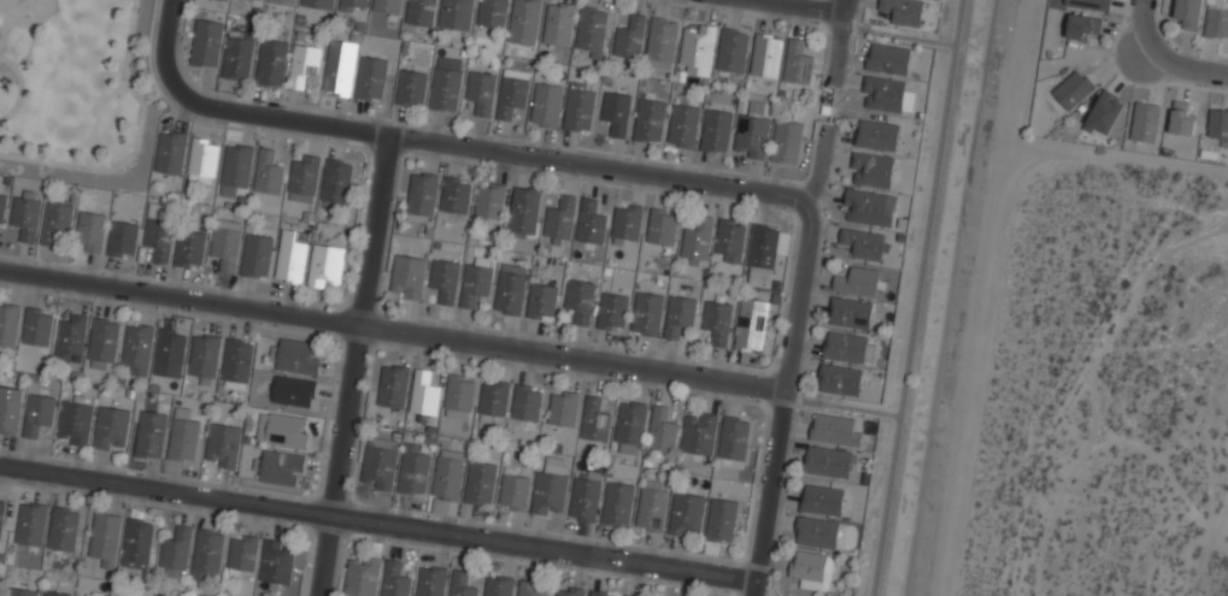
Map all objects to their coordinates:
building: (224, 0)
building: (284, 1)
road: (166, 4)
building: (317, 4)
building: (1087, 4)
road: (806, 5)
building: (353, 6)
building: (386, 6)
park: (25, 11)
building: (904, 11)
building: (421, 12)
building: (493, 13)
building: (1188, 13)
building: (456, 14)
building: (524, 22)
building: (559, 23)
building: (1216, 23)
building: (1083, 28)
road: (1141, 28)
building: (592, 30)
road: (898, 36)
building: (630, 37)
building: (662, 42)
road: (838, 42)
building: (206, 43)
building: (698, 48)
building: (733, 49)
building: (766, 55)
building: (239, 57)
building: (888, 58)
building: (272, 63)
building: (798, 63)
building: (304, 65)
road: (1182, 65)
building: (339, 72)
building: (371, 77)
building: (411, 88)
building: (446, 89)
building: (481, 90)
building: (1073, 90)
building: (512, 92)
park: (77, 93)
building: (886, 95)
building: (546, 104)
road: (834, 105)
building: (580, 106)
building: (616, 111)
building: (1105, 113)
building: (1182, 119)
building: (648, 120)
building: (1145, 122)
building: (1217, 123)
building: (683, 125)
building: (716, 130)
building: (752, 132)
building: (877, 134)
building: (787, 141)
road: (446, 144)
building: (171, 153)
building: (202, 159)
building: (236, 167)
building: (871, 170)
building: (268, 172)
building: (304, 178)
building: (336, 181)
building: (456, 194)
building: (422, 196)
building: (490, 202)
building: (2, 207)
building: (868, 208)
building: (524, 211)
building: (25, 216)
building: (560, 219)
building: (57, 220)
building: (627, 220)
building: (591, 223)
building: (662, 228)
building: (92, 231)
building: (159, 236)
building: (123, 238)
building: (697, 241)
building: (729, 241)
building: (225, 243)
building: (863, 243)
building: (189, 248)
building: (762, 250)
building: (257, 255)
building: (290, 259)
building: (325, 266)
building: (409, 276)
building: (445, 278)
building: (857, 282)
building: (475, 283)
building: (511, 288)
road: (916, 297)
building: (542, 300)
building: (581, 300)
building: (612, 311)
building: (851, 312)
building: (647, 313)
building: (678, 314)
building: (717, 320)
building: (751, 323)
building: (8, 324)
building: (37, 326)
road: (392, 327)
building: (70, 335)
building: (104, 342)
building: (171, 346)
building: (845, 346)
building: (137, 348)
building: (205, 355)
building: (299, 356)
building: (237, 359)
road: (787, 359)
road: (354, 365)
building: (839, 379)
building: (394, 385)
building: (294, 391)
building: (424, 394)
building: (459, 396)
building: (494, 399)
building: (527, 401)
building: (563, 407)
road: (840, 407)
building: (10, 409)
building: (37, 413)
building: (594, 419)
building: (75, 420)
building: (630, 427)
building: (834, 427)
building: (112, 429)
building: (662, 429)
building: (287, 431)
building: (699, 433)
building: (151, 435)
building: (183, 436)
building: (734, 437)
building: (222, 445)
building: (827, 461)
building: (281, 466)
building: (378, 467)
building: (413, 468)
building: (448, 478)
building: (481, 482)
building: (550, 490)
building: (513, 491)
building: (584, 496)
building: (822, 500)
building: (618, 503)
building: (652, 506)
building: (686, 513)
building: (1, 515)
road: (377, 521)
building: (721, 521)
building: (31, 524)
building: (64, 529)
building: (816, 532)
building: (105, 538)
building: (139, 542)
building: (243, 554)
building: (175, 555)
building: (208, 555)
building: (278, 561)
building: (811, 568)
building: (362, 576)
building: (395, 580)
building: (431, 580)
building: (462, 584)
building: (499, 585)
building: (533, 588)
building: (570, 590)
building: (20, 591)
building: (55, 592)
building: (601, 592)
building: (84, 595)
building: (628, 595)

